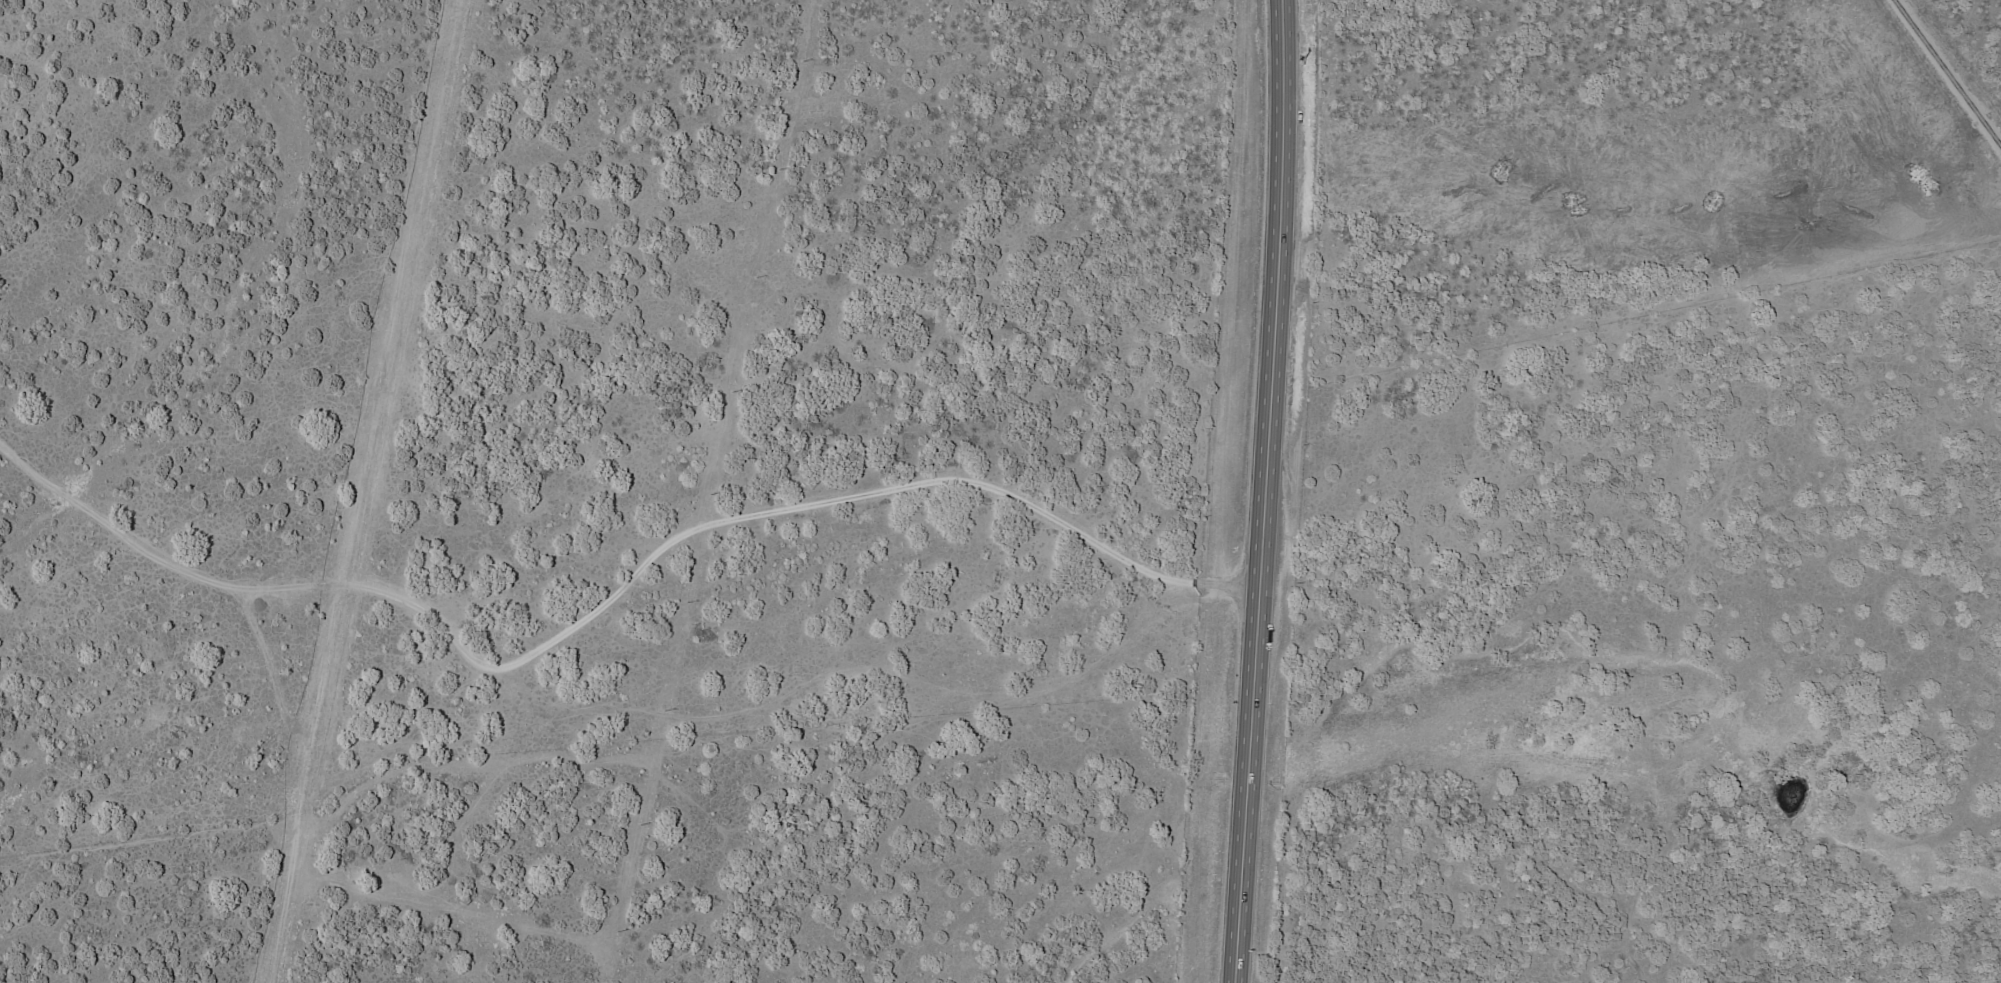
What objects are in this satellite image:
railway: (1948, 73)
road: (1253, 491)
road: (607, 600)

